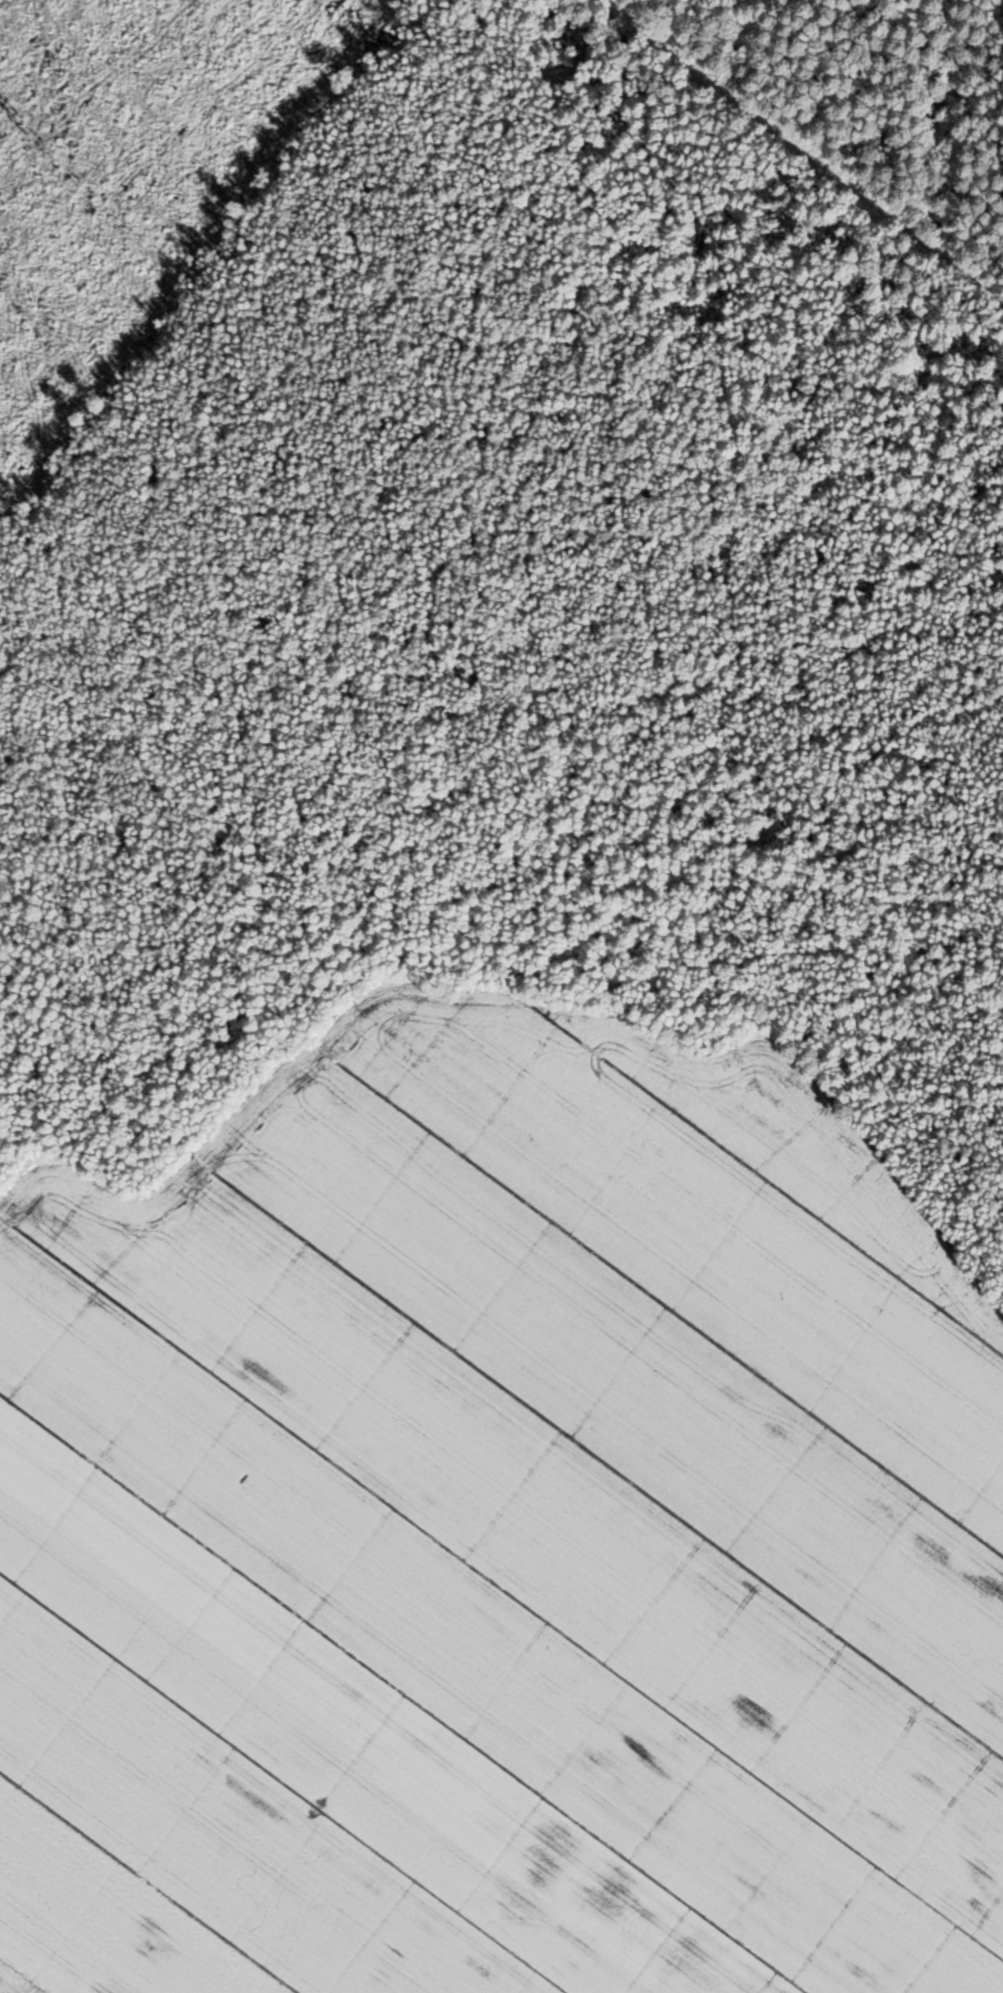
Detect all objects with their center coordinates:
road: (796, 165)

